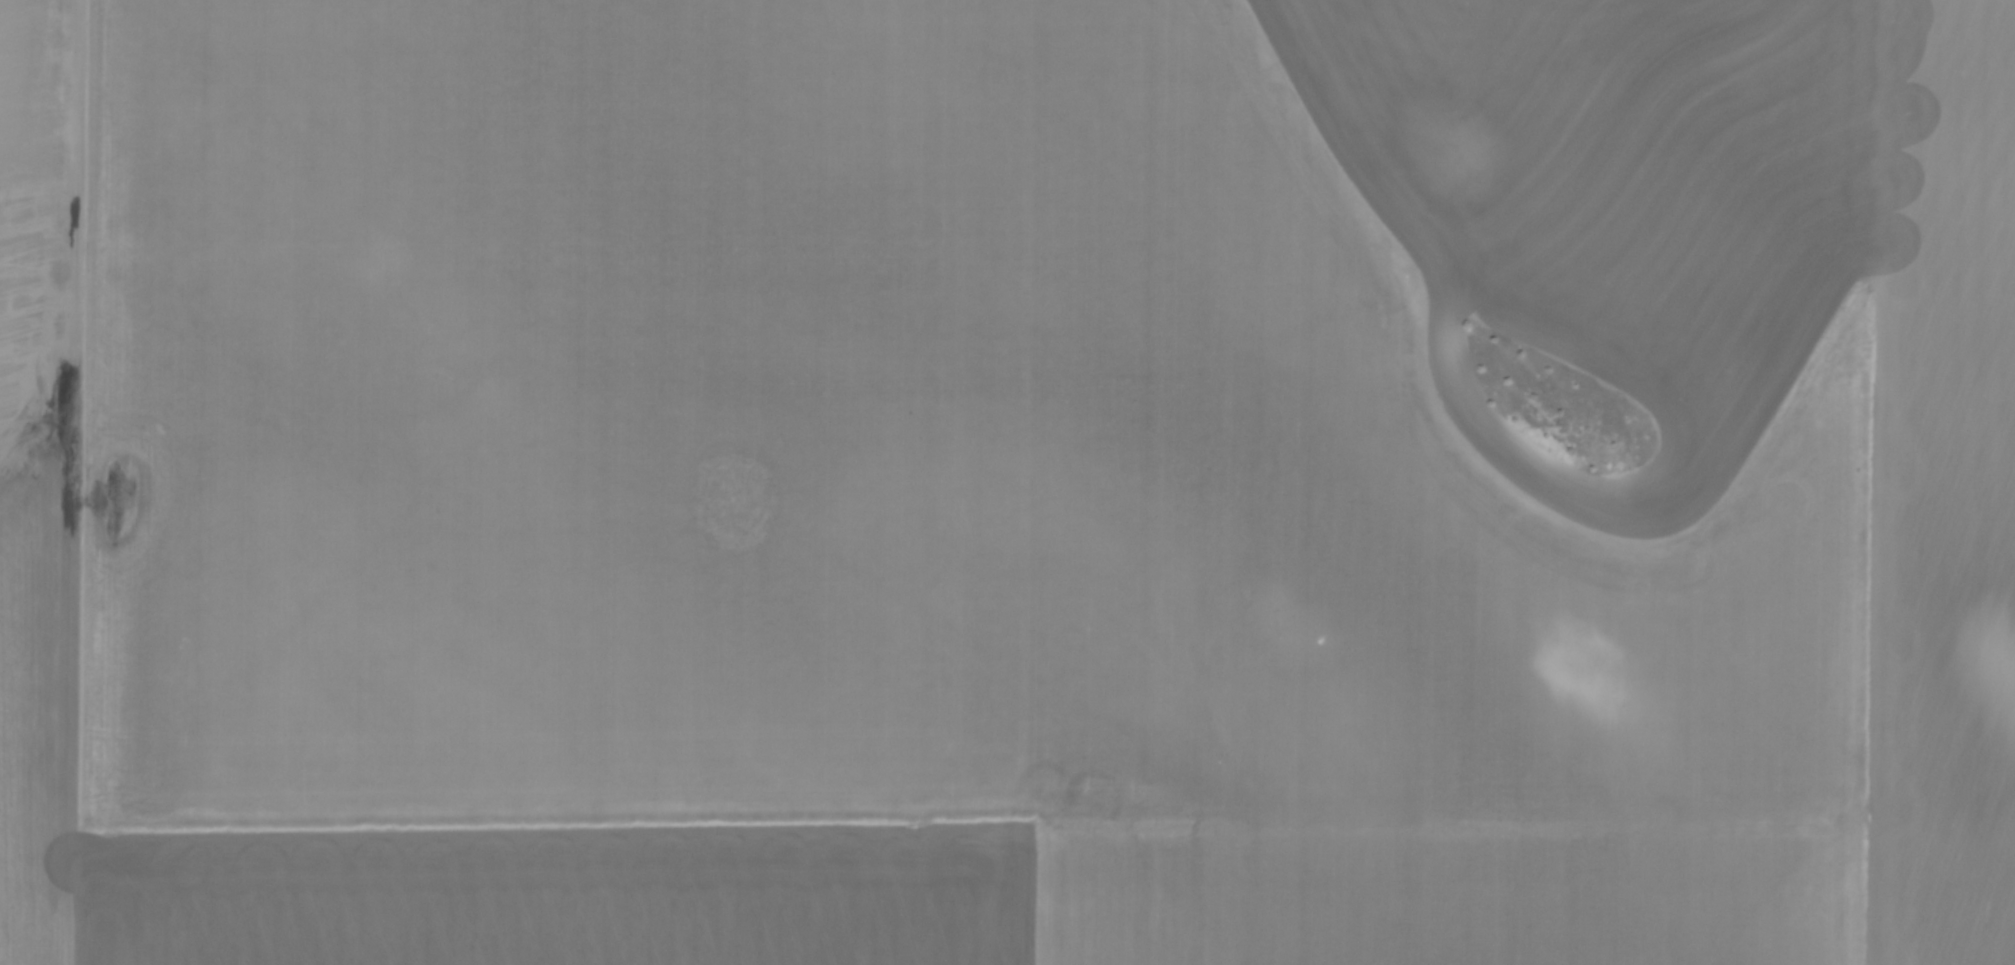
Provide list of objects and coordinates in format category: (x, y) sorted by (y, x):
crop: (1007, 482)

